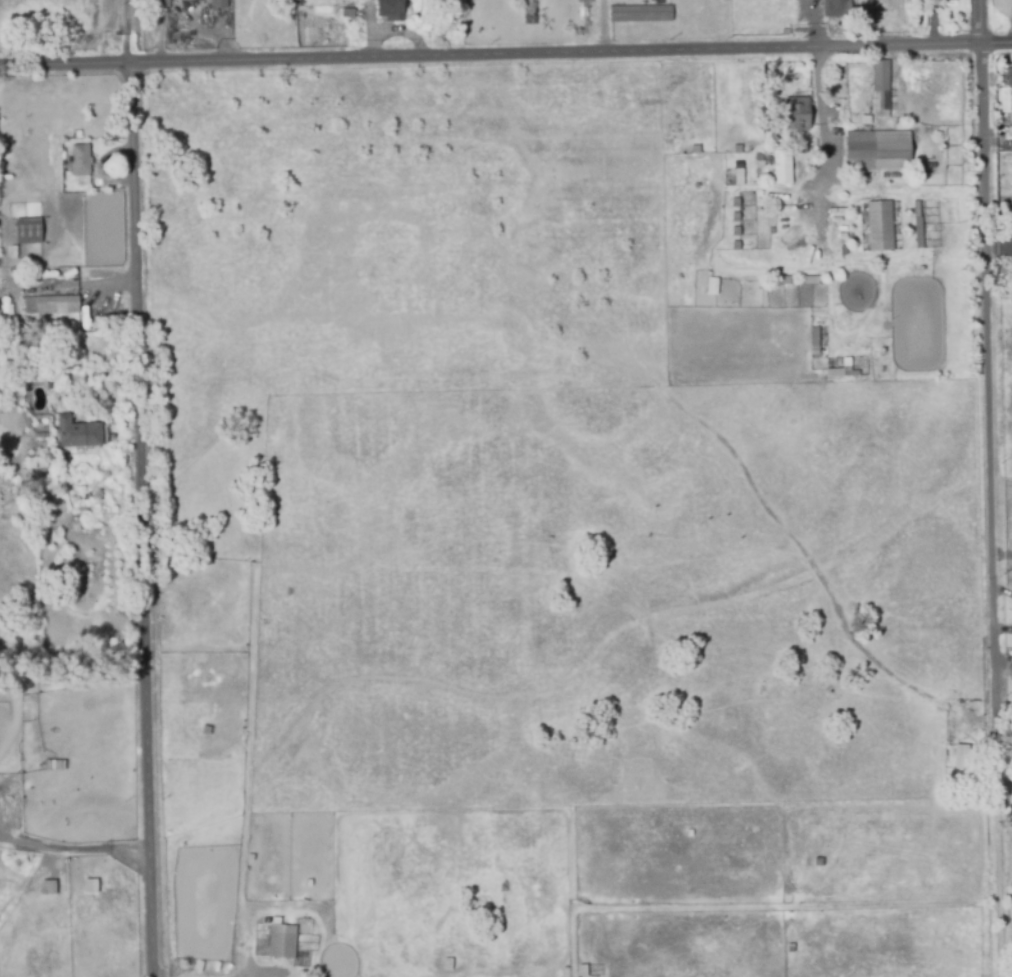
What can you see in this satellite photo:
building: (948, 0)
building: (217, 4)
building: (290, 4)
building: (160, 5)
building: (836, 9)
building: (389, 11)
building: (347, 15)
building: (640, 15)
road: (812, 24)
road: (694, 26)
road: (506, 57)
building: (1008, 79)
building: (879, 84)
building: (796, 115)
road: (818, 136)
building: (798, 149)
building: (877, 152)
building: (80, 160)
building: (781, 166)
building: (917, 216)
building: (1010, 228)
building: (881, 230)
building: (30, 234)
building: (773, 234)
road: (999, 271)
road: (998, 278)
building: (6, 281)
building: (784, 283)
building: (813, 283)
building: (710, 285)
building: (6, 297)
building: (50, 307)
building: (812, 340)
road: (994, 340)
building: (838, 370)
building: (77, 435)
road: (144, 488)
road: (983, 488)
road: (999, 558)
road: (1003, 719)
building: (207, 734)
building: (964, 762)
building: (54, 766)
road: (75, 849)
building: (251, 854)
building: (311, 881)
building: (89, 885)
building: (46, 887)
building: (284, 941)
building: (450, 960)
building: (582, 971)

